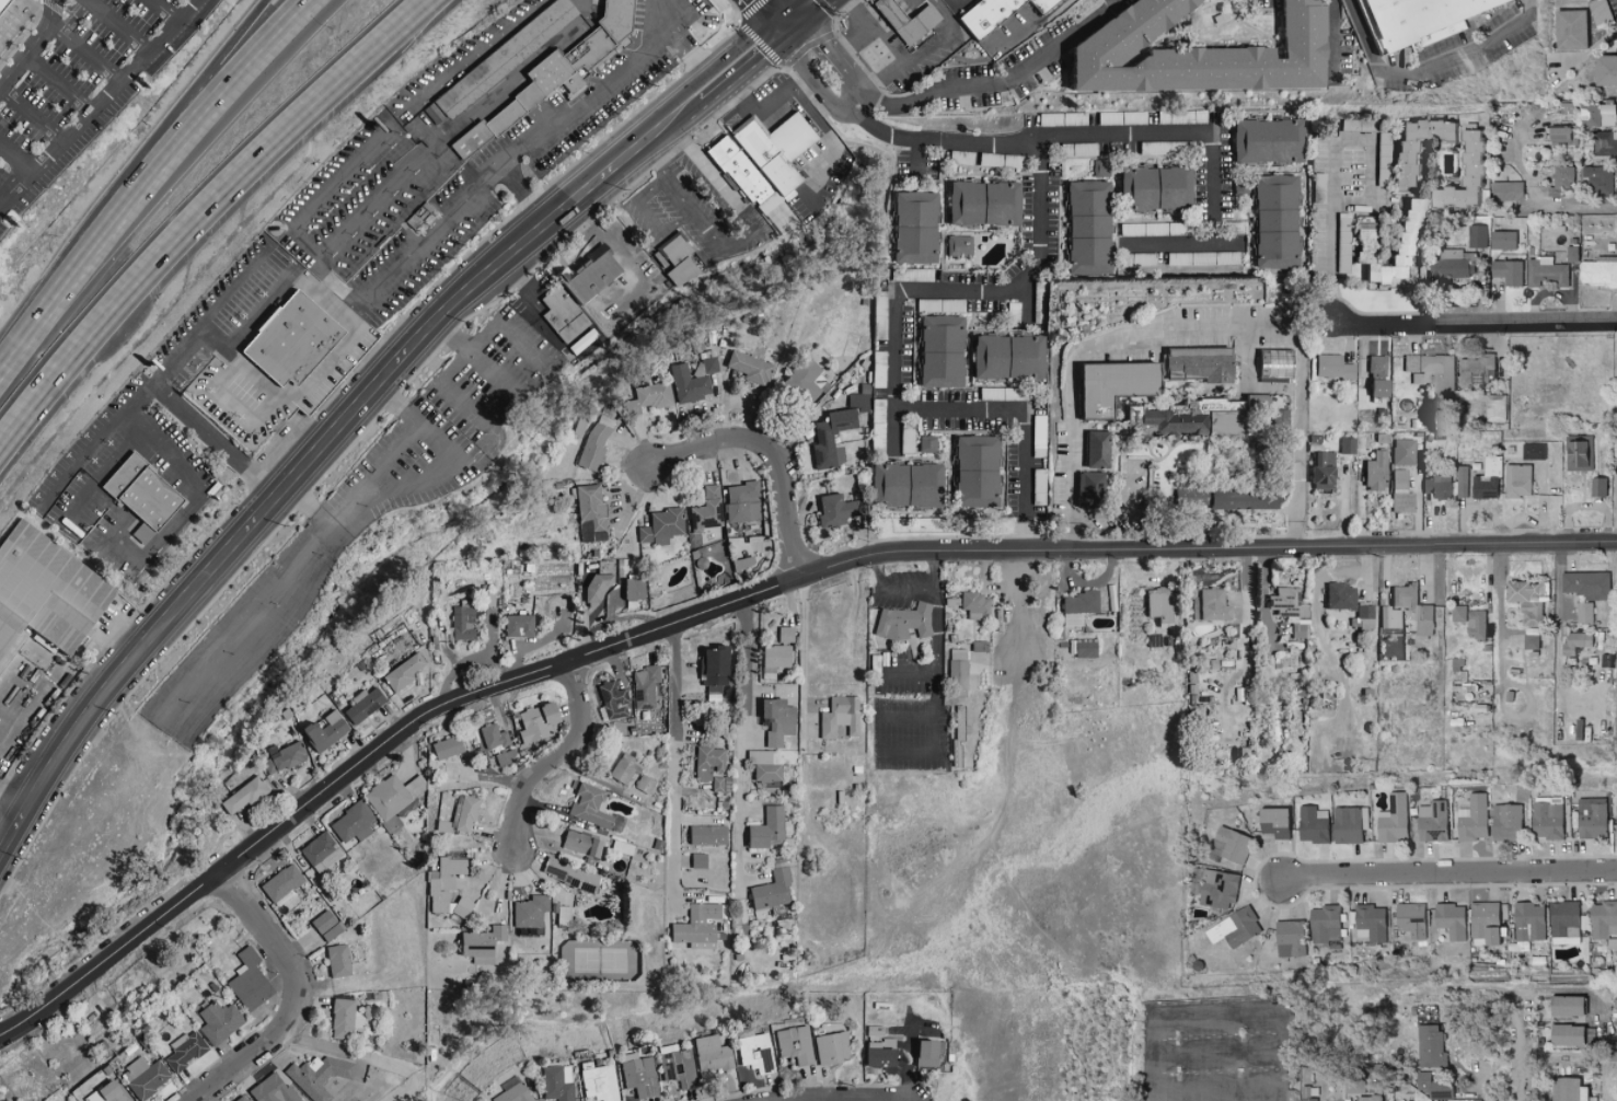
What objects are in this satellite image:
building: (1, 1)
road: (957, 4)
building: (1041, 4)
road: (163, 11)
building: (1598, 12)
road: (772, 14)
road: (784, 14)
road: (805, 14)
building: (980, 14)
building: (554, 18)
building: (903, 20)
building: (1413, 21)
road: (117, 27)
traffic signals: (788, 30)
building: (1569, 30)
road: (680, 42)
road: (1331, 42)
building: (1616, 42)
road: (32, 44)
road: (838, 47)
road: (84, 51)
road: (470, 53)
building: (1186, 53)
road: (741, 67)
road: (902, 68)
building: (1604, 70)
road: (1428, 71)
building: (557, 74)
road: (56, 83)
building: (475, 83)
road: (993, 84)
road: (192, 97)
road: (221, 101)
road: (99, 102)
road: (30, 114)
road: (772, 114)
building: (1596, 115)
building: (1180, 116)
building: (1120, 117)
building: (1079, 118)
road: (889, 132)
road: (1121, 132)
road: (660, 134)
building: (1558, 134)
building: (1383, 136)
building: (1604, 144)
road: (836, 147)
road: (1335, 157)
building: (1400, 157)
building: (758, 158)
road: (916, 158)
road: (12, 161)
road: (1212, 174)
building: (1460, 177)
building: (1561, 179)
building: (1596, 182)
building: (1505, 192)
road: (324, 193)
road: (524, 194)
road: (1574, 201)
road: (205, 216)
road: (649, 218)
road: (429, 232)
building: (1476, 236)
road: (746, 237)
building: (1501, 240)
building: (1404, 251)
building: (1571, 255)
building: (680, 260)
road: (628, 267)
building: (1506, 271)
building: (1598, 271)
building: (1545, 273)
building: (599, 275)
road: (62, 286)
road: (523, 287)
building: (1041, 294)
road: (267, 297)
building: (569, 320)
road: (495, 322)
road: (1472, 325)
road: (1191, 327)
road: (894, 331)
building: (297, 340)
building: (1197, 363)
building: (706, 366)
building: (750, 367)
building: (1331, 367)
building: (1478, 370)
road: (448, 372)
building: (1433, 373)
building: (1375, 376)
building: (1616, 379)
building: (801, 380)
building: (868, 383)
building: (691, 384)
building: (1107, 384)
road: (268, 387)
building: (649, 397)
building: (1250, 401)
building: (1494, 407)
road: (242, 416)
road: (118, 417)
building: (1186, 418)
building: (1274, 418)
road: (216, 437)
building: (830, 439)
building: (596, 445)
building: (1344, 445)
road: (118, 449)
building: (1093, 449)
building: (1278, 451)
building: (1401, 451)
building: (1533, 451)
building: (1578, 453)
road: (767, 454)
road: (301, 466)
building: (1318, 470)
building: (1373, 471)
building: (1273, 476)
building: (1398, 478)
building: (1486, 480)
building: (1516, 480)
building: (1462, 482)
building: (1086, 486)
building: (1436, 486)
road: (404, 487)
building: (1596, 488)
building: (146, 496)
building: (1218, 498)
building: (1401, 501)
building: (742, 502)
building: (706, 510)
building: (832, 510)
building: (592, 512)
road: (1125, 514)
building: (662, 526)
road: (1024, 532)
road: (147, 549)
road: (936, 568)
building: (1585, 584)
building: (599, 587)
road: (890, 588)
building: (636, 589)
building: (49, 592)
building: (1337, 595)
road: (749, 596)
building: (1527, 600)
road: (268, 602)
building: (973, 605)
building: (1156, 605)
building: (1210, 605)
road: (1016, 606)
building: (1074, 606)
road: (1262, 606)
building: (1405, 606)
building: (1584, 613)
building: (1458, 614)
building: (1364, 616)
building: (934, 619)
building: (901, 622)
road: (1500, 622)
building: (463, 624)
building: (520, 625)
building: (1476, 625)
road: (1559, 625)
building: (786, 635)
building: (1576, 642)
building: (1528, 644)
building: (1084, 648)
building: (777, 656)
road: (802, 662)
building: (716, 668)
building: (956, 669)
road: (908, 671)
building: (404, 672)
building: (647, 687)
building: (614, 699)
road: (935, 700)
building: (366, 704)
road: (904, 716)
building: (841, 717)
building: (540, 721)
building: (781, 721)
building: (327, 731)
road: (729, 731)
building: (494, 735)
building: (449, 746)
building: (288, 755)
building: (506, 757)
road: (555, 763)
building: (711, 763)
building: (767, 765)
building: (268, 766)
road: (675, 767)
building: (627, 768)
building: (718, 784)
building: (647, 785)
building: (245, 796)
building: (393, 796)
road: (10, 802)
building: (594, 808)
building: (1616, 812)
building: (462, 815)
building: (1592, 818)
building: (1472, 819)
building: (1394, 820)
building: (355, 822)
building: (1272, 822)
building: (1432, 822)
building: (1505, 822)
building: (1313, 824)
building: (1350, 824)
road: (10, 825)
building: (770, 828)
building: (709, 835)
building: (582, 844)
building: (1232, 845)
building: (322, 851)
building: (701, 860)
building: (571, 874)
road: (1449, 878)
building: (284, 882)
building: (444, 882)
building: (1213, 888)
building: (773, 891)
building: (463, 907)
building: (531, 912)
building: (1409, 919)
building: (1449, 919)
building: (1371, 920)
building: (1603, 920)
building: (324, 922)
building: (1564, 922)
building: (1485, 923)
building: (1528, 923)
building: (1326, 924)
building: (700, 926)
building: (1234, 927)
building: (334, 931)
building: (1287, 939)
building: (485, 941)
building: (340, 961)
building: (250, 981)
road: (291, 999)
building: (1564, 1006)
road: (1284, 1012)
building: (346, 1019)
building: (221, 1022)
building: (1566, 1034)
road: (314, 1043)
road: (1522, 1043)
building: (795, 1044)
building: (1430, 1046)
building: (830, 1047)
building: (187, 1050)
building: (924, 1051)
building: (755, 1053)
building: (874, 1054)
building: (712, 1055)
building: (678, 1068)
building: (320, 1075)
building: (638, 1075)
building: (146, 1077)
road: (1154, 1079)
building: (599, 1081)
building: (557, 1082)
building: (1433, 1086)
building: (1567, 1089)
building: (275, 1090)
building: (513, 1091)
building: (109, 1093)
road: (1237, 1093)
building: (1308, 1094)
road: (1281, 1096)
building: (242, 1098)
building: (1368, 1098)
building: (1291, 1099)
road: (859, 1100)

